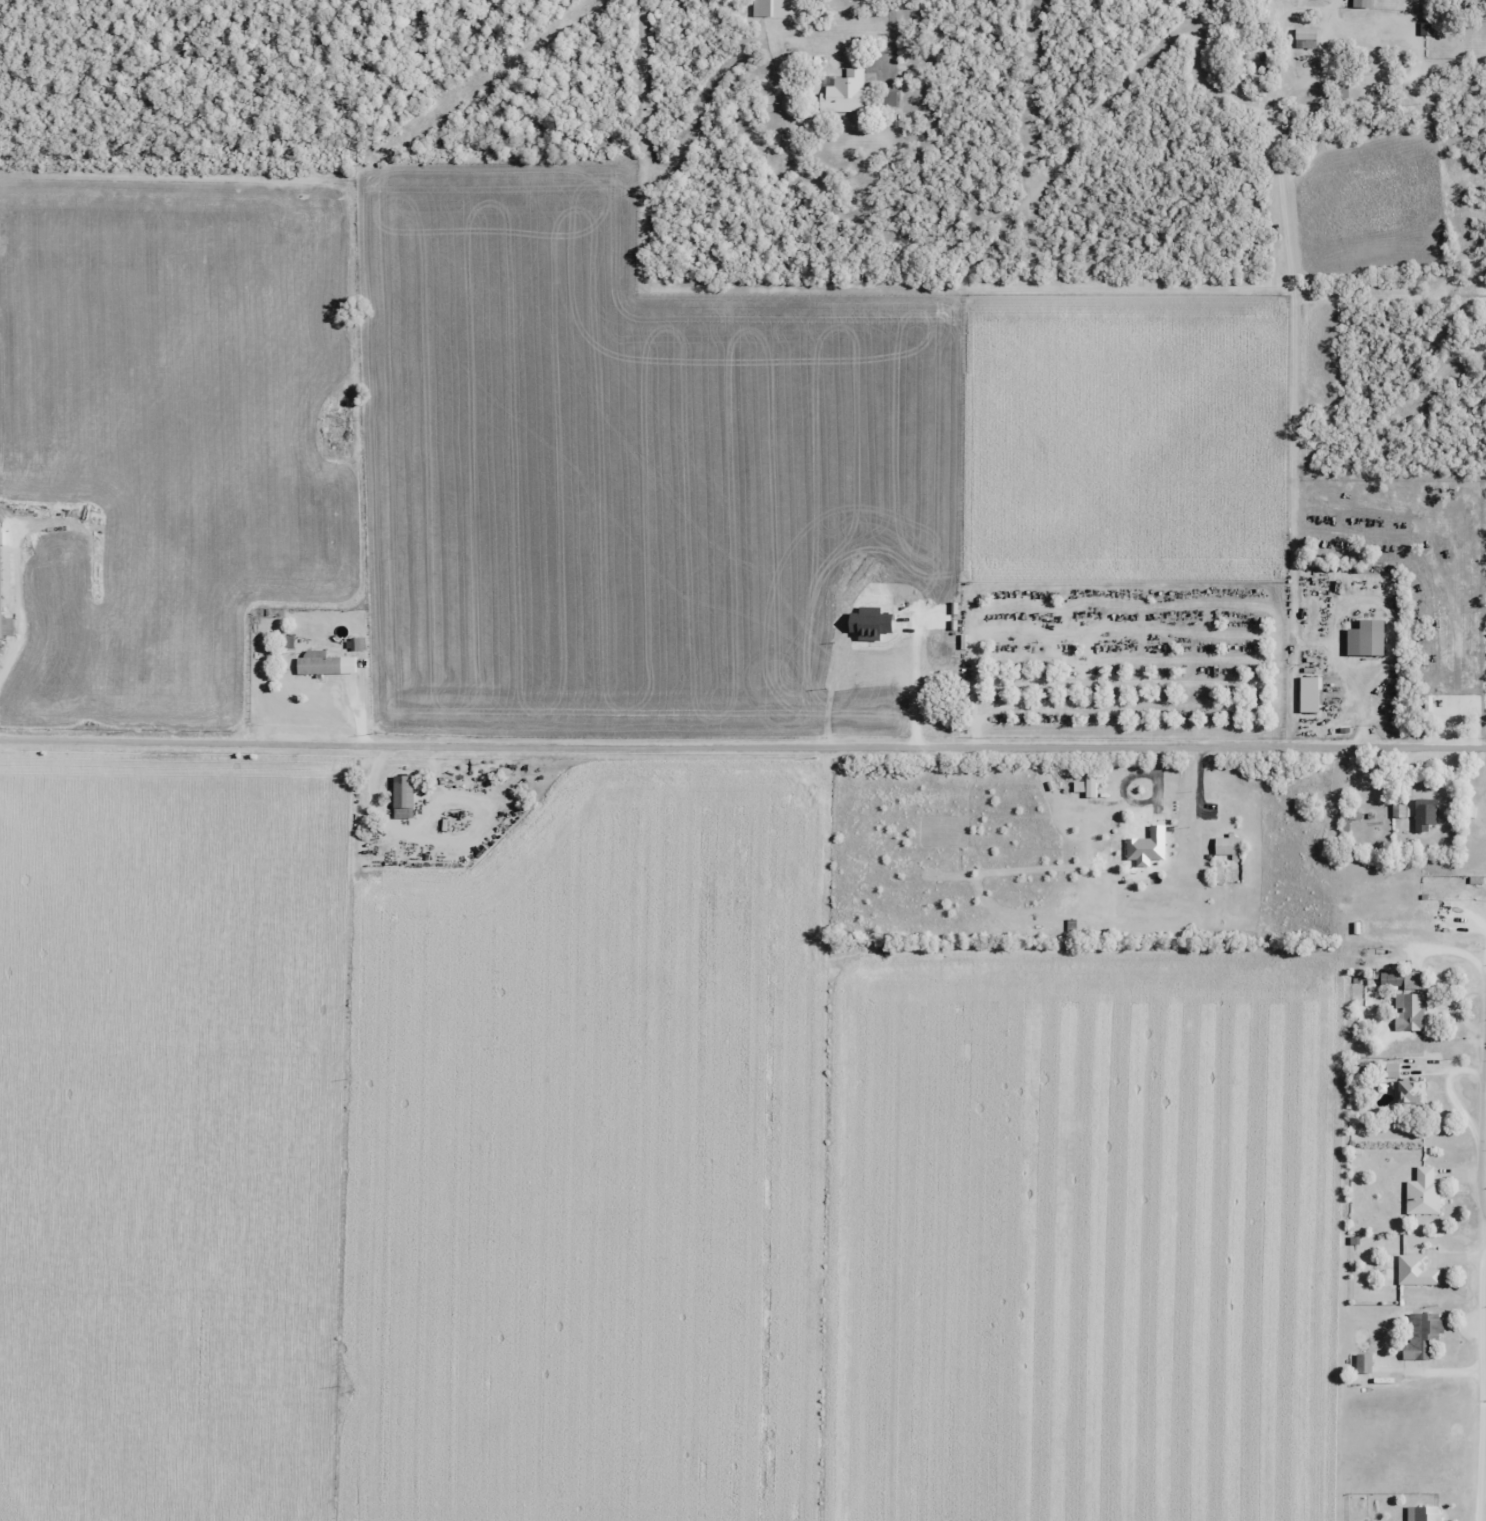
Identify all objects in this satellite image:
building: (1470, 1)
building: (1360, 3)
building: (761, 8)
road: (891, 33)
building: (1304, 33)
building: (845, 92)
building: (1364, 637)
road: (9, 663)
building: (323, 664)
building: (1308, 693)
road: (742, 747)
building: (401, 795)
building: (1424, 813)
building: (1227, 845)
road: (1482, 968)
building: (1400, 979)
building: (1408, 1011)
building: (1409, 1091)
road: (1484, 1159)
building: (1422, 1192)
building: (1415, 1270)
building: (1421, 1333)
building: (1363, 1363)
building: (1426, 1513)

